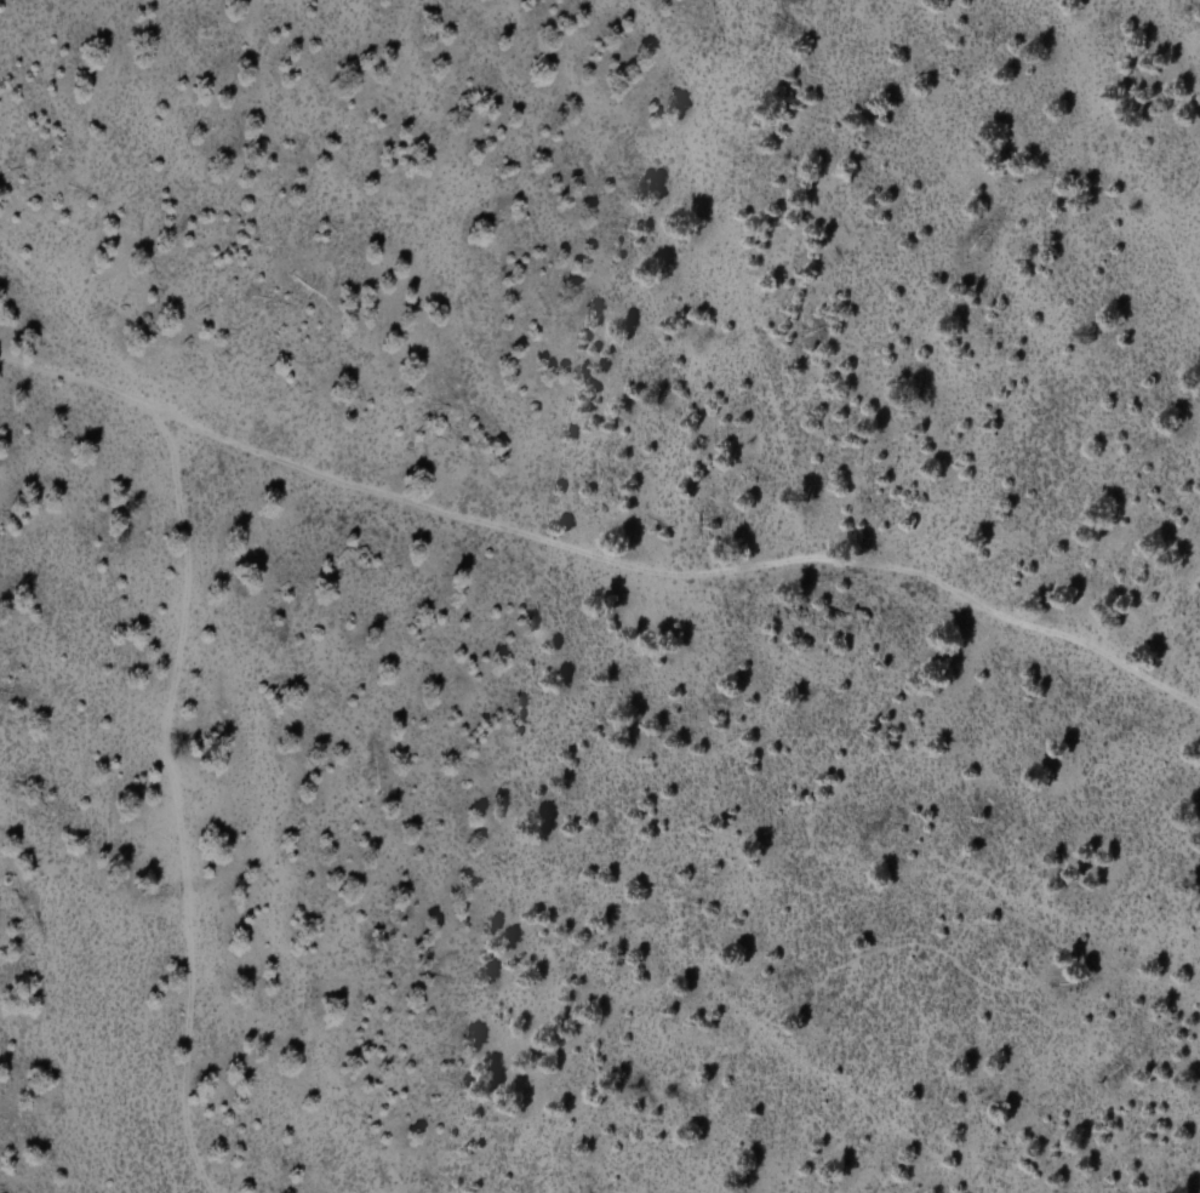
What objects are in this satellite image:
road: (600, 558)
road: (407, 795)
road: (201, 897)

